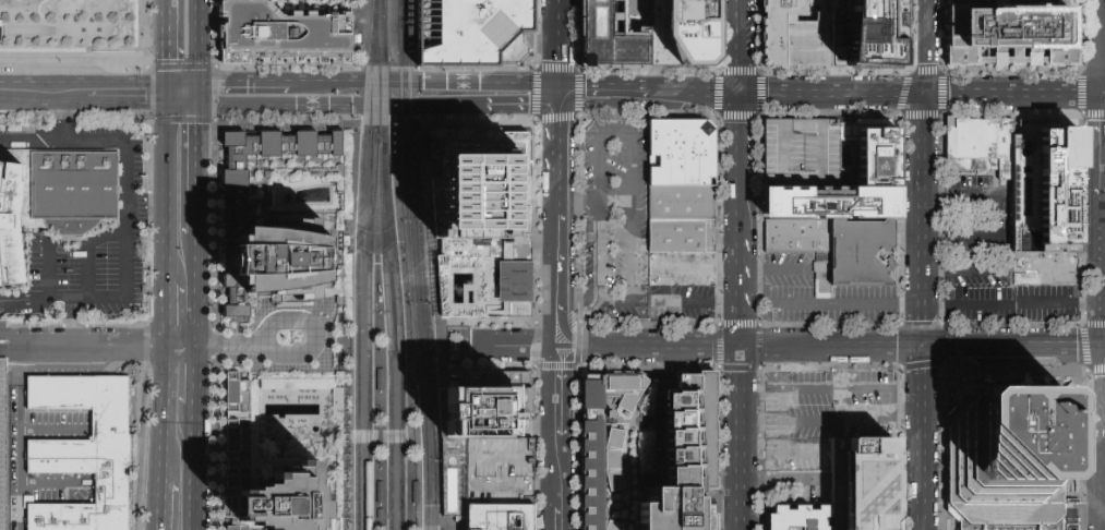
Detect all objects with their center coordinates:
building: (245, 0)
railway: (399, 12)
railway: (408, 12)
road: (39, 15)
railway: (374, 23)
road: (556, 24)
railway: (382, 25)
railway: (384, 25)
park: (72, 27)
building: (472, 29)
building: (614, 33)
building: (685, 33)
building: (795, 34)
building: (866, 35)
building: (284, 36)
building: (1016, 36)
road: (165, 41)
road: (196, 41)
road: (921, 47)
road: (1104, 47)
road: (107, 60)
railway: (399, 71)
railway: (409, 71)
road: (556, 72)
road: (425, 81)
road: (82, 83)
traffic signals: (165, 84)
road: (180, 84)
traffic signals: (196, 84)
road: (243, 84)
road: (601, 85)
railway: (384, 91)
road: (215, 92)
road: (1104, 93)
road: (1012, 94)
traffic signals: (1104, 94)
road: (165, 95)
road: (196, 95)
traffic signals: (921, 95)
traffic signals: (740, 96)
road: (784, 96)
traffic signals: (556, 97)
road: (740, 98)
road: (44, 104)
road: (511, 104)
road: (127, 106)
traffic signals: (165, 107)
traffic signals: (196, 107)
road: (314, 107)
road: (818, 107)
road: (620, 111)
road: (524, 118)
road: (577, 118)
railway: (350, 120)
railway: (392, 120)
road: (58, 122)
road: (554, 127)
road: (630, 137)
building: (980, 137)
road: (1104, 143)
building: (804, 153)
parking lot: (804, 153)
building: (868, 153)
building: (683, 154)
helipad: (877, 167)
building: (990, 170)
road: (196, 171)
road: (803, 178)
road: (553, 180)
parking lot: (132, 188)
building: (231, 193)
road: (165, 194)
building: (52, 202)
road: (575, 202)
road: (1104, 202)
building: (683, 203)
building: (832, 204)
road: (124, 206)
road: (1009, 214)
building: (484, 216)
parking lot: (617, 219)
parking lot: (976, 219)
road: (922, 220)
building: (684, 236)
building: (801, 238)
road: (375, 244)
road: (550, 248)
road: (86, 250)
road: (148, 250)
road: (376, 250)
railway: (376, 254)
road: (433, 254)
building: (865, 254)
railway: (358, 264)
building: (281, 265)
parking lot: (1045, 267)
road: (770, 268)
road: (1062, 268)
road: (962, 270)
road: (741, 272)
parking lot: (977, 274)
road: (47, 279)
building: (822, 280)
parking lot: (682, 285)
road: (662, 286)
railway: (368, 288)
road: (580, 288)
road: (196, 290)
parking lot: (814, 296)
road: (14, 301)
road: (573, 301)
road: (822, 304)
parking lot: (1010, 304)
road: (1014, 304)
road: (166, 314)
road: (322, 315)
road: (547, 320)
road: (350, 323)
road: (407, 323)
railway: (388, 330)
railway: (398, 330)
railway: (417, 335)
railway: (425, 335)
road: (333, 340)
road: (1, 345)
toll booth: (2, 345)
road: (98, 345)
building: (455, 345)
road: (214, 346)
road: (1014, 346)
road: (653, 347)
traffic signals: (741, 347)
road: (832, 347)
traffic signals: (924, 347)
road: (509, 348)
road: (557, 348)
road: (301, 356)
road: (165, 360)
road: (577, 363)
road: (646, 366)
road: (718, 368)
road: (194, 376)
building: (380, 381)
railway: (416, 385)
road: (808, 388)
road: (374, 392)
road: (568, 392)
road: (164, 398)
road: (537, 400)
road: (892, 412)
road: (837, 420)
building: (478, 423)
parking lot: (820, 424)
road: (547, 427)
road: (52, 430)
road: (541, 432)
road: (380, 436)
road: (740, 437)
road: (924, 438)
building: (603, 442)
road: (629, 445)
building: (2, 447)
parking lot: (2, 447)
building: (236, 447)
road: (760, 448)
road: (445, 453)
building: (84, 454)
building: (684, 457)
building: (1010, 457)
parking lot: (17, 458)
road: (20, 460)
road: (192, 468)
building: (502, 471)
road: (161, 477)
road: (781, 480)
road: (48, 481)
road: (568, 482)
building: (864, 484)
road: (551, 487)
building: (415, 492)
building: (380, 493)
building: (286, 499)
building: (502, 516)
road: (547, 518)
building: (801, 518)
road: (442, 521)
railway: (442, 526)

